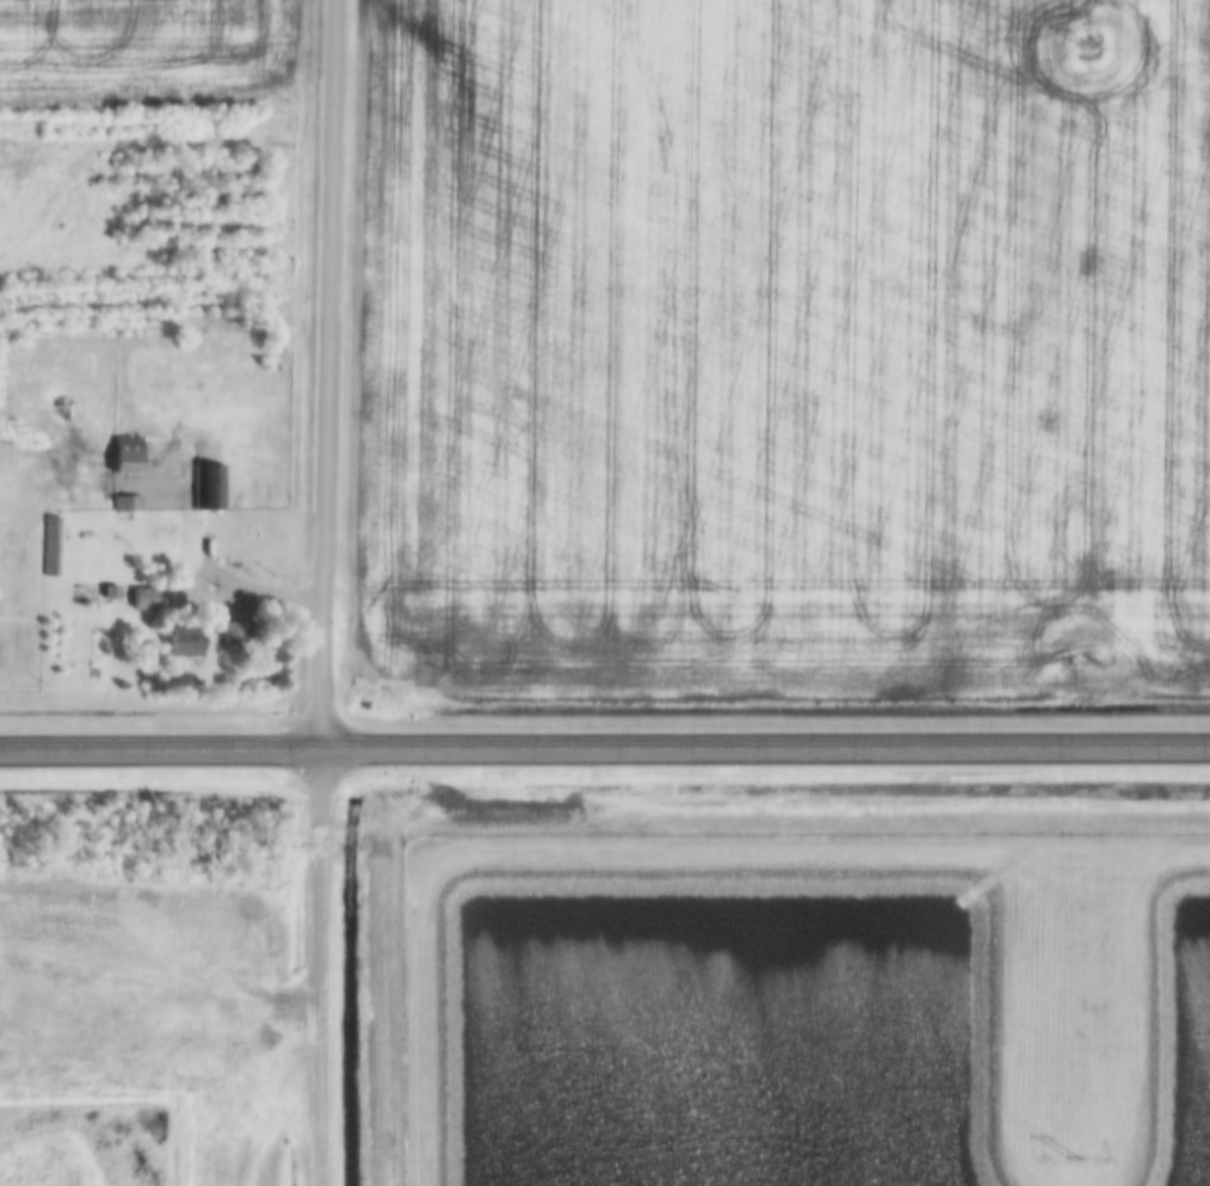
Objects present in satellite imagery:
power tower: (1086, 44)
crop: (140, 52)
crop: (784, 347)
road: (322, 373)
building: (122, 455)
building: (208, 486)
building: (124, 502)
building: (48, 545)
road: (259, 594)
building: (111, 595)
building: (233, 625)
building: (178, 641)
power tower: (1076, 662)
road: (764, 748)
road: (159, 749)
road: (652, 845)
road: (317, 968)
crop: (24, 1070)
power tower: (1068, 1161)

